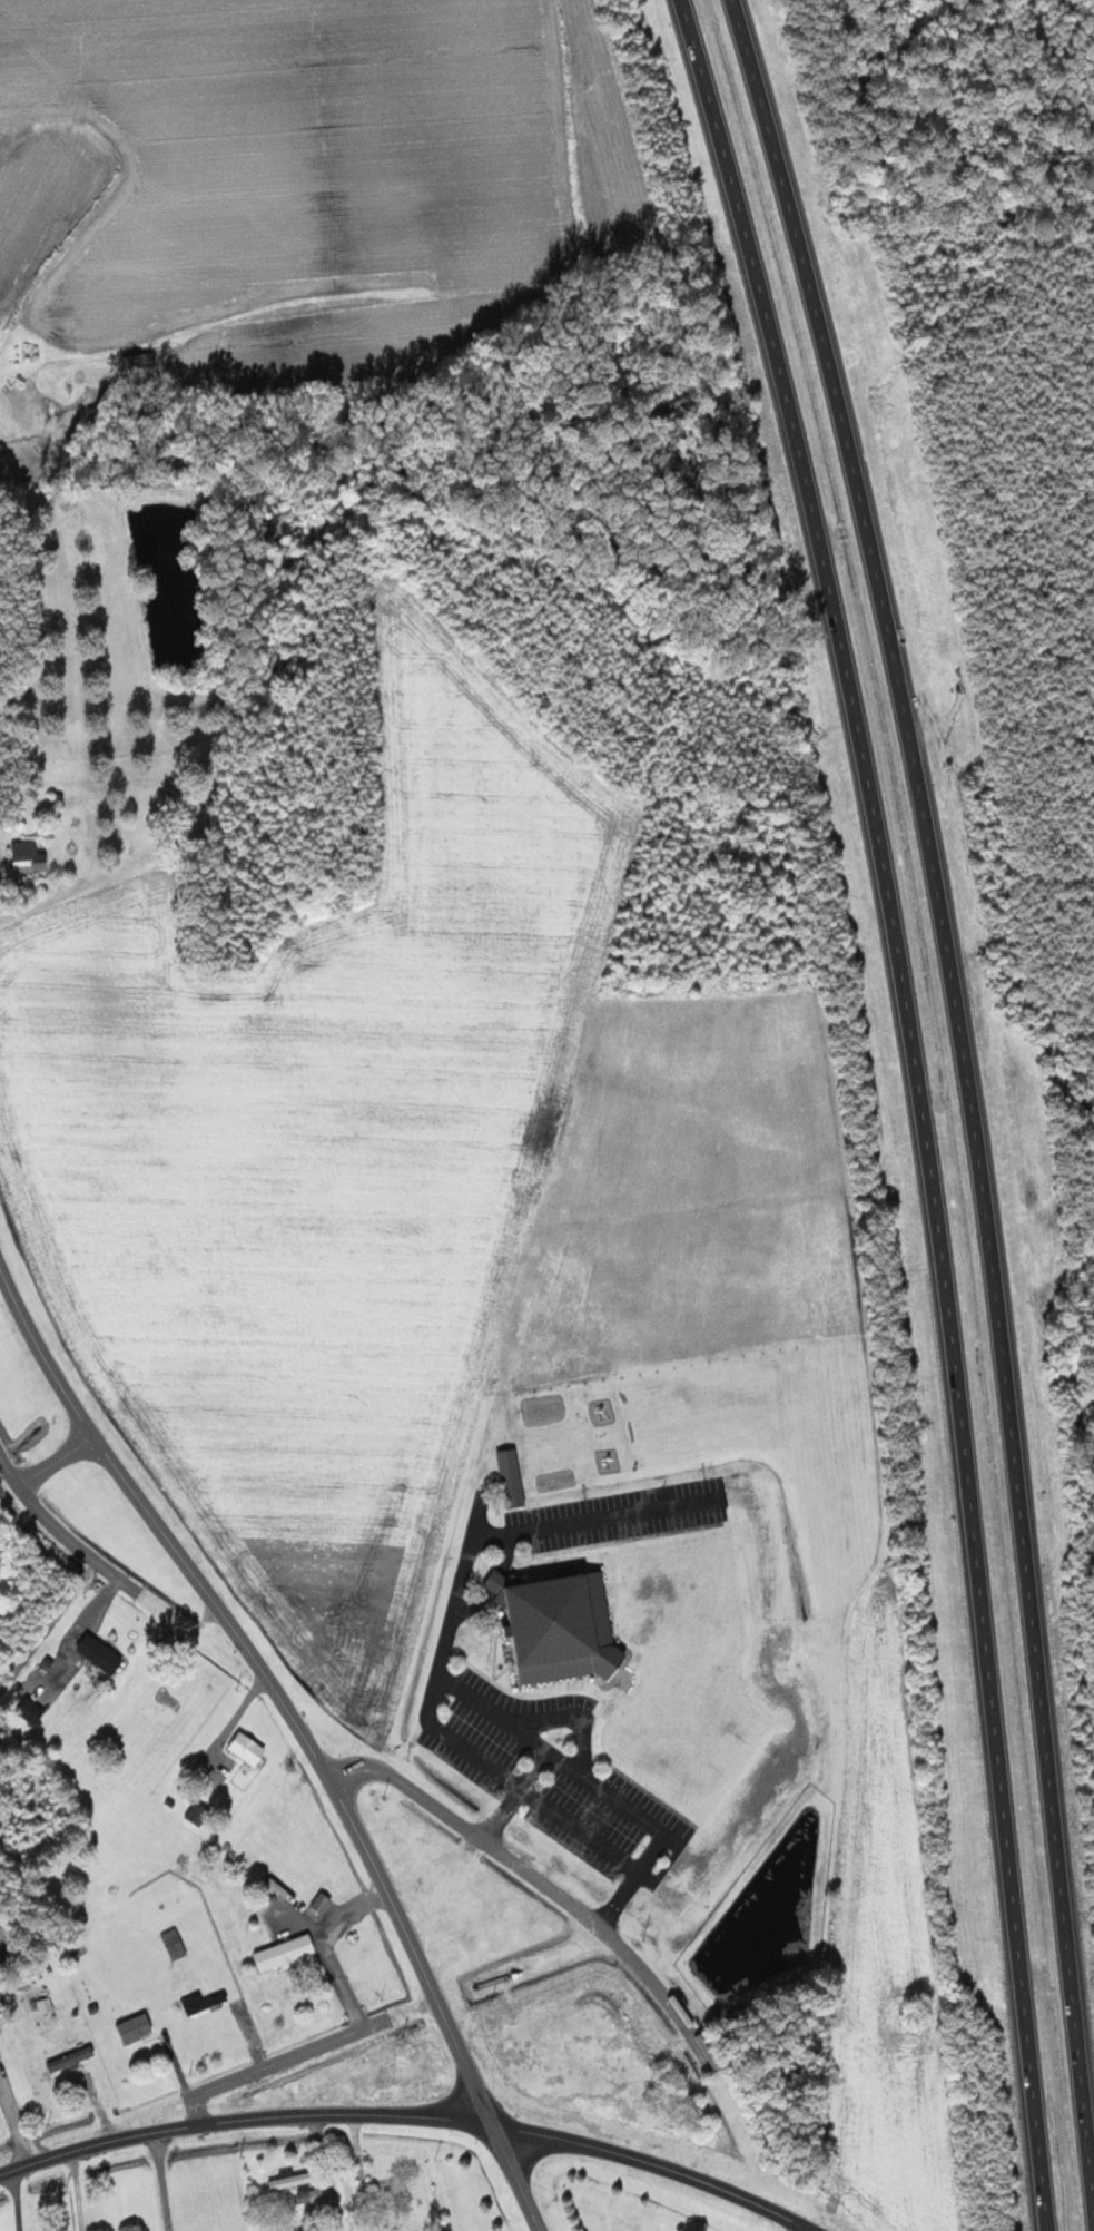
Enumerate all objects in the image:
building: (30, 857)
road: (975, 1104)
road: (921, 1105)
road: (56, 1461)
building: (513, 1477)
road: (59, 1530)
building: (562, 1626)
building: (102, 1654)
road: (267, 1681)
building: (32, 1710)
building: (248, 1748)
building: (198, 1814)
road: (540, 1884)
road: (326, 1946)
building: (286, 1953)
building: (47, 2005)
building: (136, 2026)
building: (72, 2058)
road: (278, 2061)
building: (0, 2097)
road: (322, 2113)
road: (77, 2150)
road: (651, 2162)
road: (513, 2178)
road: (162, 2181)
building: (300, 2185)
road: (77, 2191)
road: (17, 2200)
road: (807, 2229)
road: (810, 2229)

